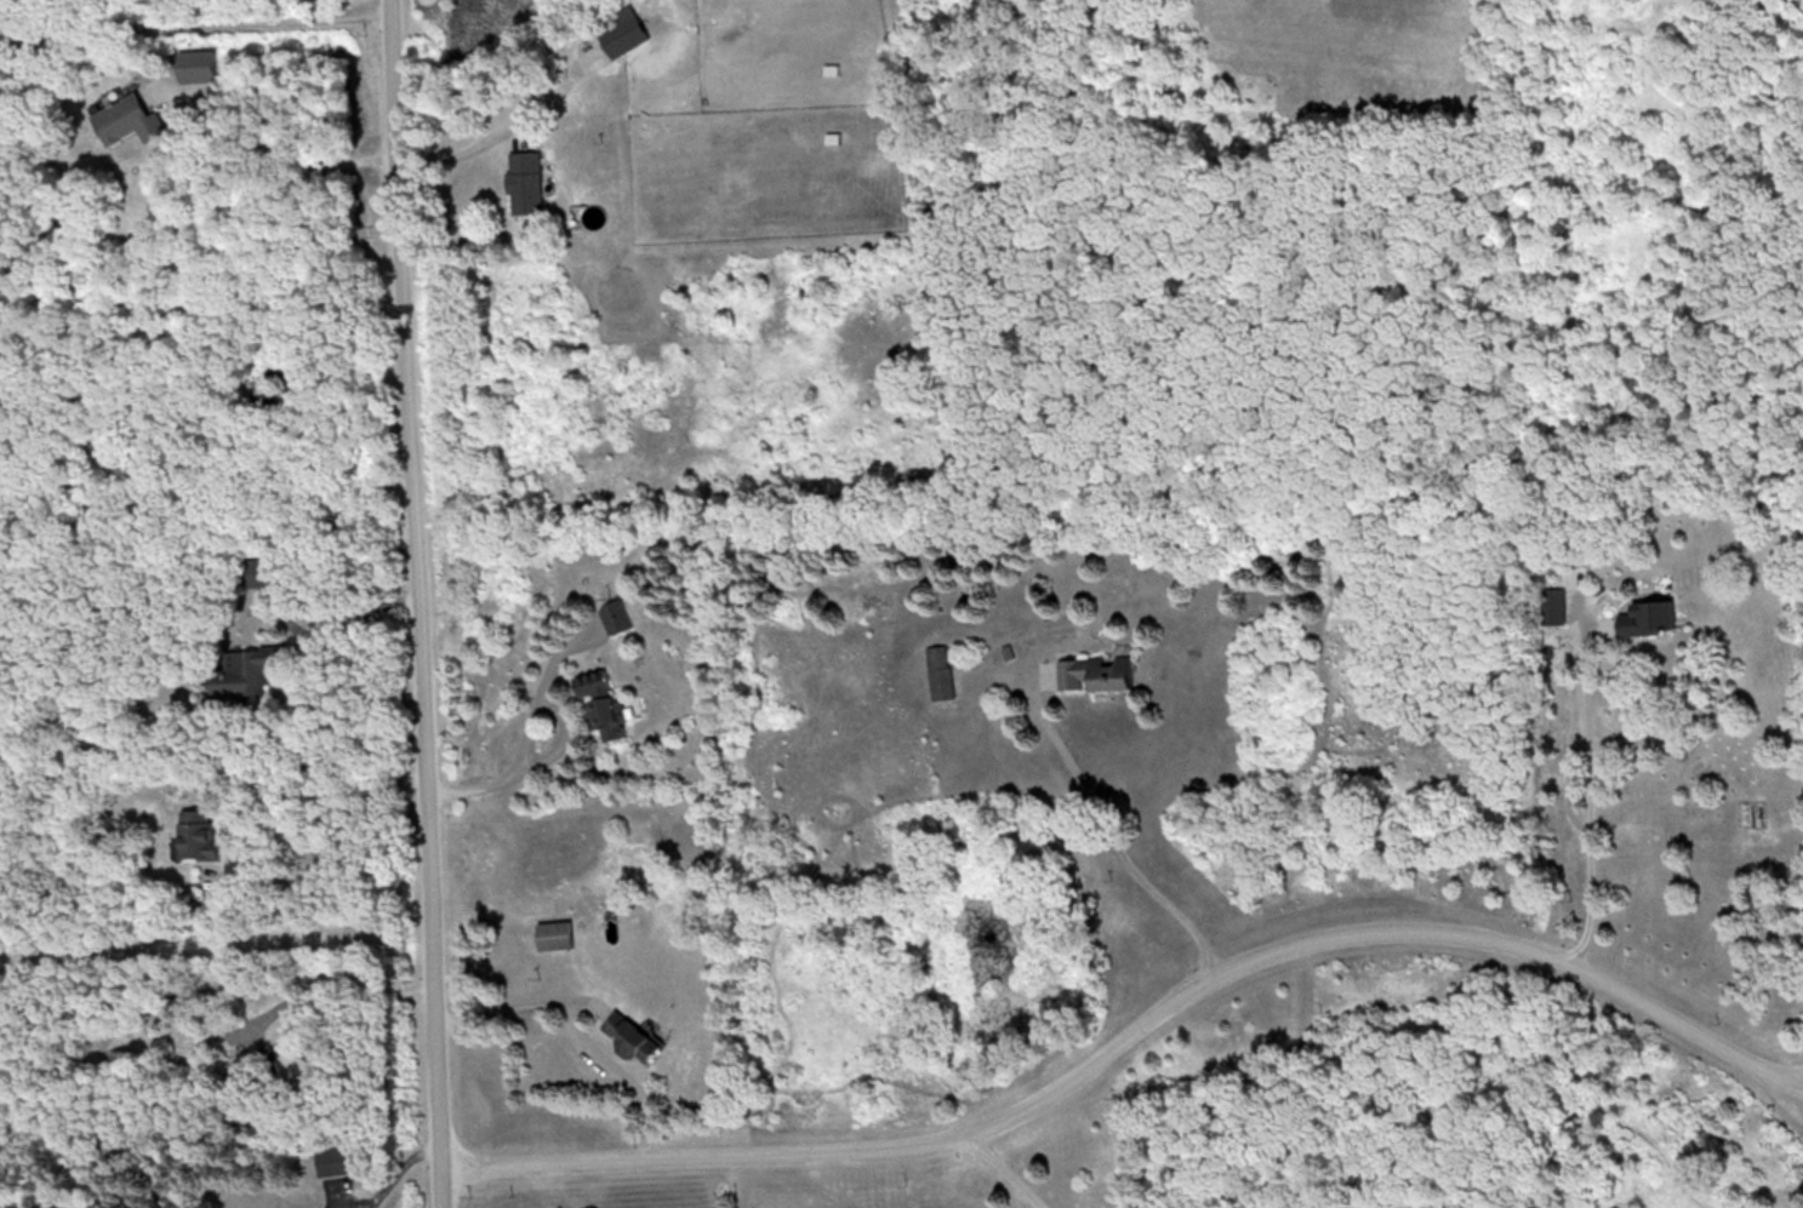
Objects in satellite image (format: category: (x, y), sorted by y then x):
road: (194, 22)
building: (620, 28)
building: (193, 63)
building: (127, 119)
road: (286, 153)
building: (523, 179)
road: (212, 533)
building: (262, 571)
road: (418, 603)
building: (615, 614)
building: (1643, 616)
road: (316, 646)
building: (243, 670)
building: (938, 670)
building: (1092, 671)
building: (604, 703)
road: (527, 732)
road: (1590, 796)
road: (1103, 830)
building: (195, 832)
road: (332, 853)
building: (553, 933)
road: (327, 983)
road: (581, 1023)
road: (1137, 1025)
building: (623, 1032)
building: (295, 1065)
building: (239, 1086)
building: (329, 1158)
road: (1003, 1167)
road: (382, 1173)
road: (365, 1198)

